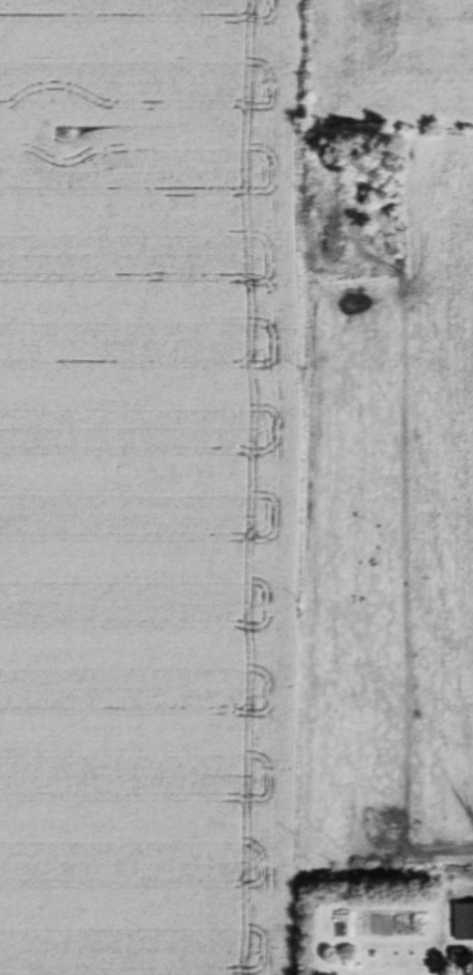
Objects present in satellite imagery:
building: (466, 920)

